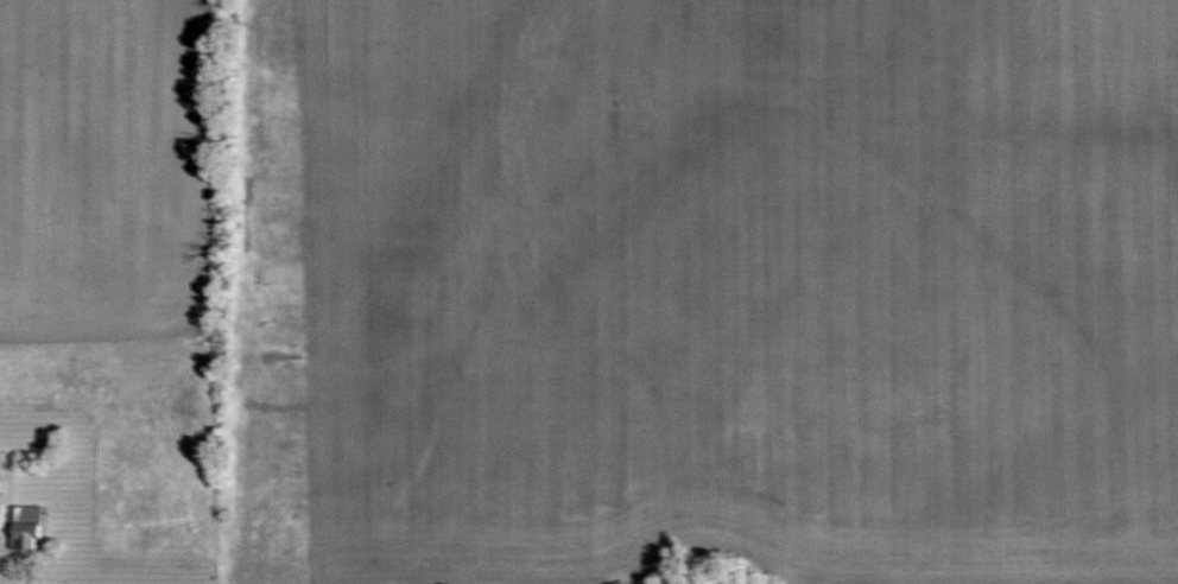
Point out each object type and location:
building: (0, 464)
building: (26, 527)

